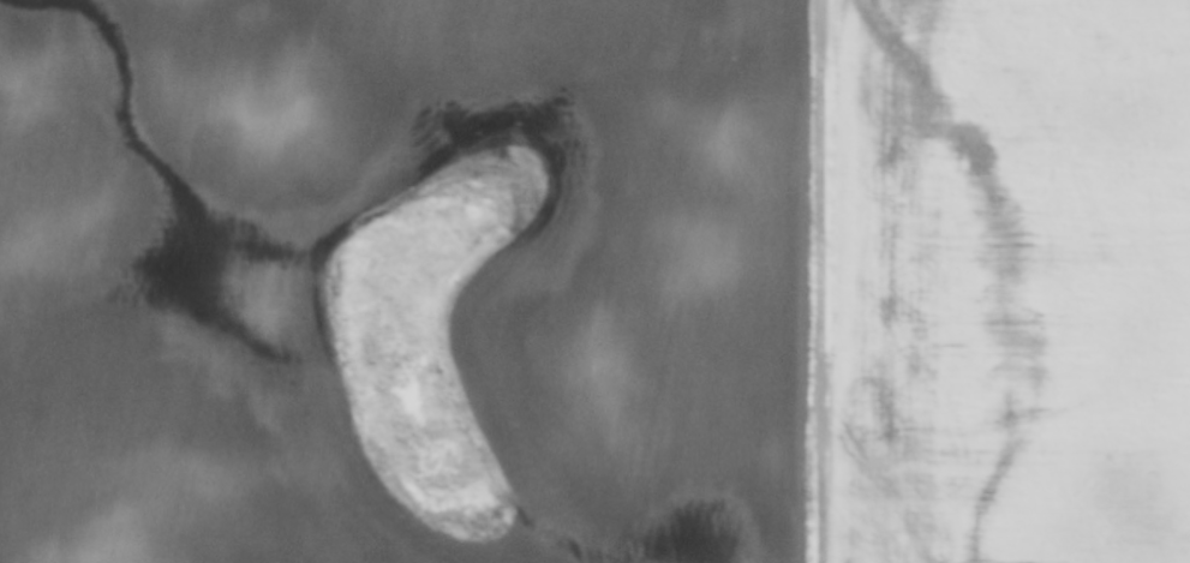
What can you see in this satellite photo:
road: (827, 281)

